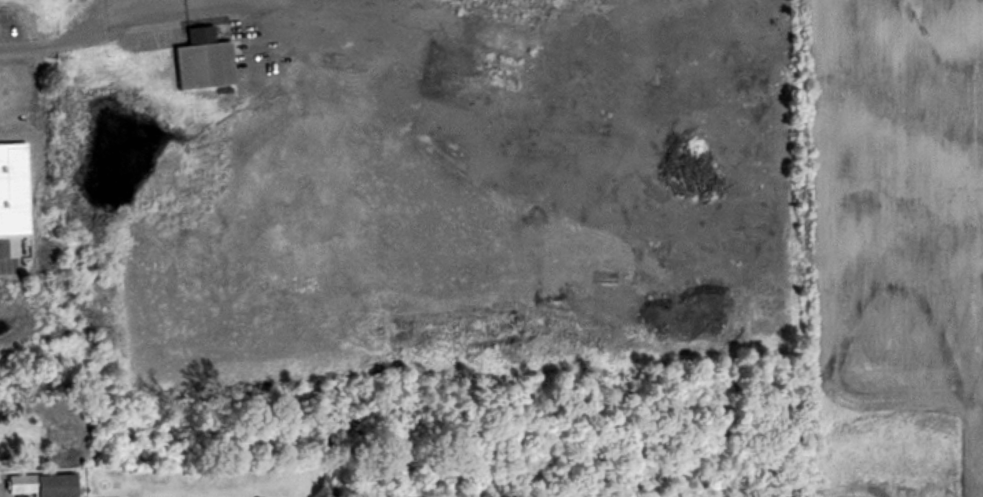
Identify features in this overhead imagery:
road: (178, 6)
building: (211, 65)
building: (21, 142)
building: (50, 484)

